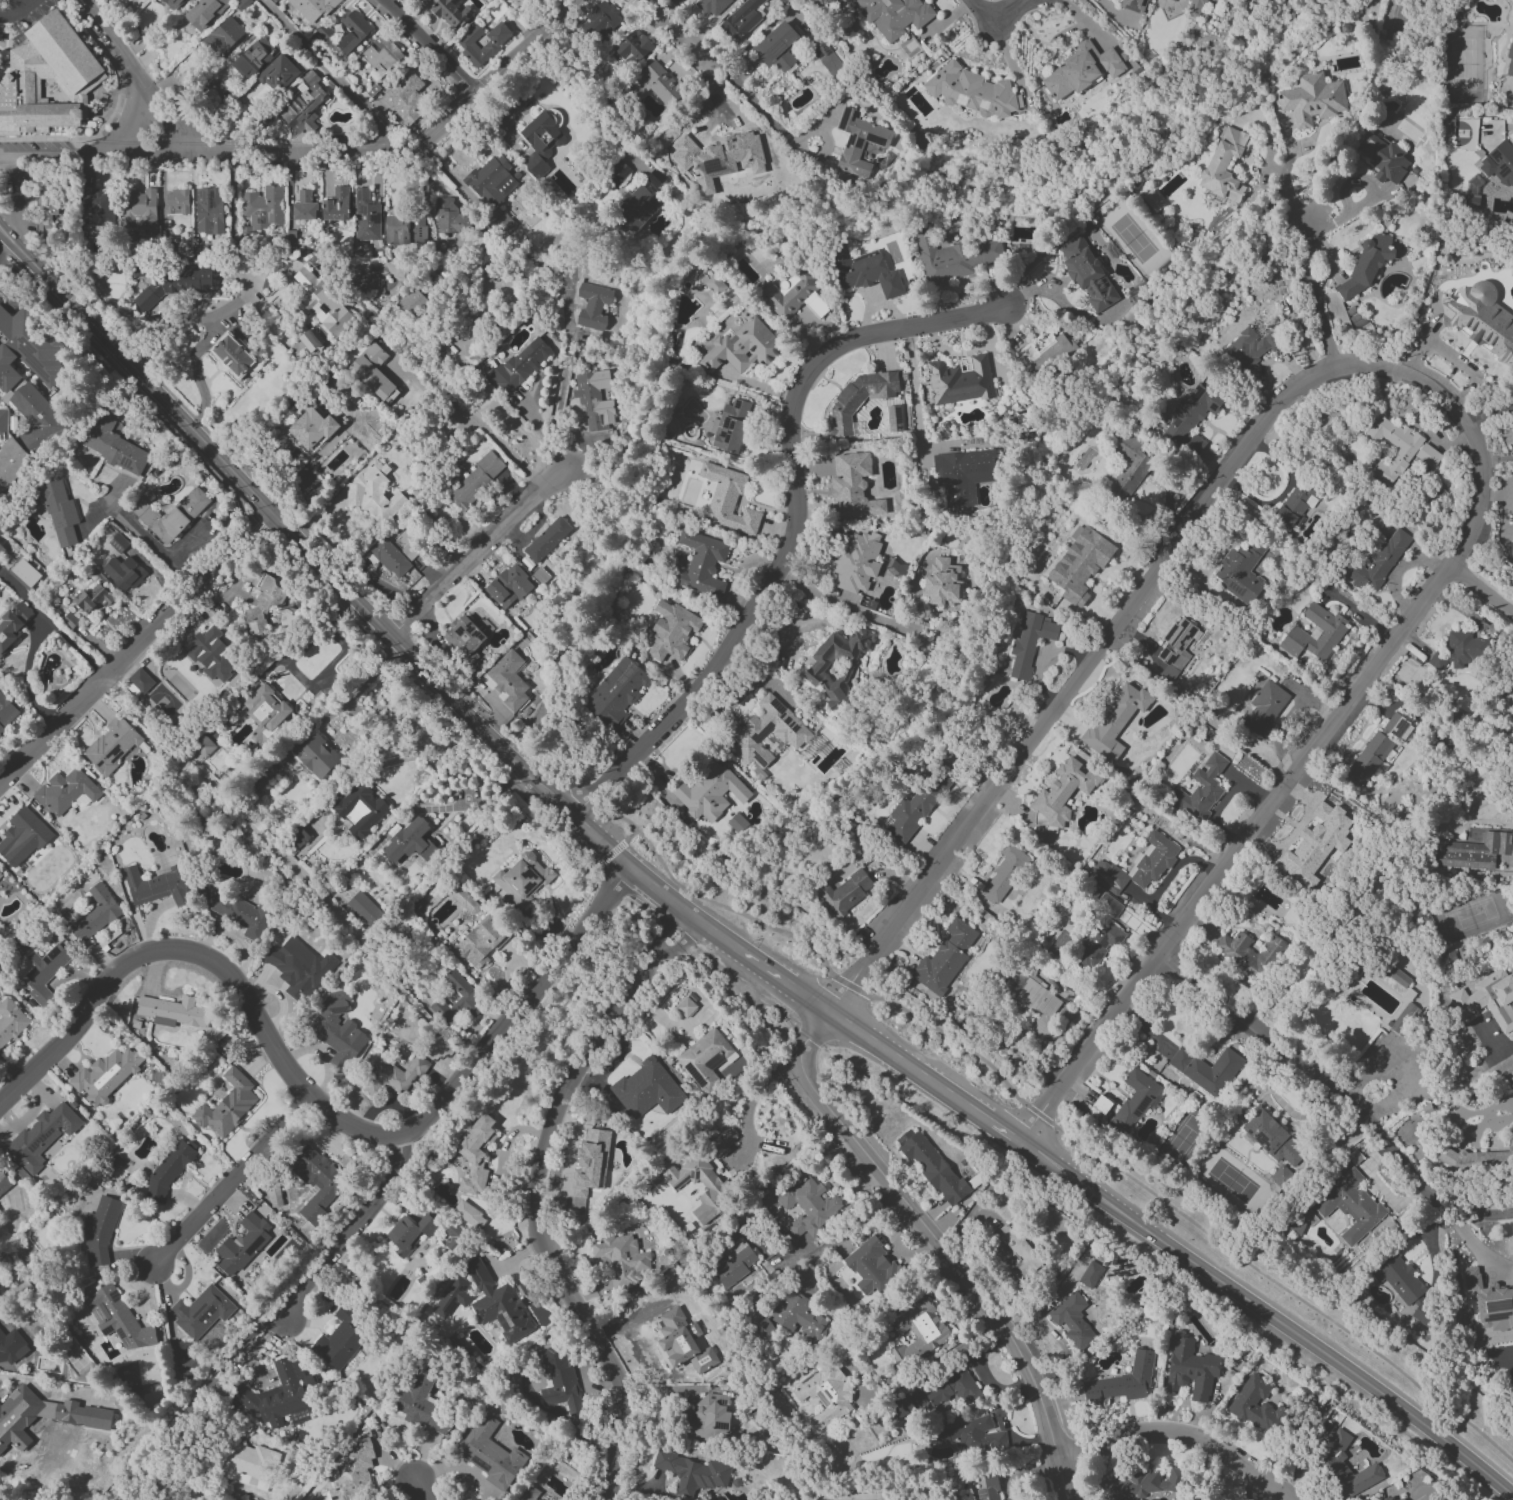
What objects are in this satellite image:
building: (173, 4)
building: (1134, 5)
building: (712, 6)
building: (1195, 6)
road: (16, 8)
building: (312, 8)
building: (205, 12)
building: (452, 13)
building: (894, 16)
building: (602, 20)
building: (741, 20)
road: (997, 22)
building: (353, 30)
road: (680, 32)
building: (224, 36)
building: (482, 43)
road: (115, 46)
road: (433, 46)
road: (526, 46)
building: (633, 46)
building: (777, 46)
building: (381, 54)
building: (253, 58)
building: (827, 58)
building: (1510, 60)
road: (328, 70)
building: (1082, 70)
building: (57, 72)
building: (277, 74)
building: (658, 85)
building: (970, 91)
building: (405, 97)
building: (1312, 99)
building: (305, 106)
road: (113, 110)
road: (763, 110)
road: (130, 122)
road: (176, 125)
road: (1132, 133)
building: (542, 139)
building: (860, 142)
road: (248, 154)
building: (1383, 158)
building: (1225, 164)
building: (1499, 164)
building: (618, 173)
building: (490, 182)
road: (1289, 200)
building: (1152, 201)
building: (176, 202)
building: (1471, 202)
building: (336, 205)
building: (304, 206)
building: (637, 206)
building: (97, 208)
building: (263, 209)
building: (140, 210)
building: (209, 211)
building: (45, 215)
building: (366, 216)
building: (451, 216)
building: (405, 229)
road: (5, 245)
building: (954, 258)
building: (1366, 265)
building: (1512, 270)
building: (1088, 271)
building: (864, 272)
building: (363, 282)
building: (175, 284)
building: (715, 284)
road: (1314, 294)
building: (795, 295)
building: (322, 303)
road: (242, 304)
building: (593, 306)
road: (193, 319)
building: (1481, 319)
building: (310, 340)
building: (741, 348)
building: (1250, 348)
building: (1044, 352)
building: (235, 358)
building: (521, 364)
building: (372, 371)
road: (564, 373)
building: (959, 381)
road: (912, 388)
building: (24, 395)
building: (859, 398)
building: (594, 399)
road: (1490, 414)
building: (1191, 418)
building: (731, 425)
road: (477, 426)
building: (312, 430)
building: (113, 445)
road: (208, 447)
building: (1399, 449)
building: (1130, 466)
building: (963, 475)
building: (475, 481)
building: (853, 487)
building: (374, 494)
building: (727, 500)
building: (1294, 507)
building: (58, 511)
building: (170, 514)
road: (793, 526)
building: (547, 539)
building: (1511, 549)
building: (2, 550)
road: (161, 551)
road: (477, 551)
building: (389, 558)
road: (295, 560)
building: (856, 562)
building: (1380, 562)
building: (702, 564)
building: (1081, 564)
building: (896, 568)
building: (1241, 572)
building: (123, 573)
building: (24, 574)
building: (942, 583)
building: (509, 587)
road: (1482, 591)
road: (188, 593)
building: (93, 599)
building: (266, 604)
road: (843, 605)
building: (69, 620)
building: (14, 624)
road: (34, 631)
building: (670, 631)
building: (1315, 633)
building: (464, 638)
building: (1176, 640)
building: (1029, 642)
building: (1460, 650)
building: (210, 654)
building: (836, 665)
road: (292, 671)
building: (141, 680)
building: (508, 680)
road: (1074, 680)
road: (361, 687)
building: (616, 692)
building: (1510, 703)
building: (264, 708)
building: (1264, 709)
building: (7, 713)
road: (481, 723)
building: (1115, 723)
building: (1398, 727)
road: (53, 729)
building: (768, 731)
road: (1327, 734)
building: (113, 744)
building: (316, 756)
building: (1368, 759)
building: (265, 777)
road: (210, 783)
building: (1201, 789)
building: (65, 791)
building: (710, 792)
building: (1062, 793)
road: (555, 801)
building: (916, 807)
building: (361, 809)
road: (631, 835)
building: (23, 837)
building: (411, 841)
building: (1477, 852)
road: (609, 853)
building: (1137, 865)
road: (630, 870)
building: (1003, 873)
building: (0, 874)
building: (522, 878)
building: (158, 886)
building: (845, 893)
building: (1108, 905)
road: (613, 906)
building: (364, 909)
building: (96, 914)
building: (241, 914)
road: (626, 915)
road: (650, 935)
building: (480, 943)
building: (1097, 943)
building: (1250, 954)
road: (205, 957)
building: (945, 958)
building: (1449, 958)
road: (760, 966)
building: (298, 968)
building: (42, 972)
building: (1396, 976)
building: (458, 999)
building: (1487, 1000)
building: (1033, 1002)
building: (685, 1007)
building: (173, 1011)
road: (518, 1011)
building: (1403, 1018)
building: (10, 1021)
building: (337, 1030)
road: (1490, 1042)
building: (704, 1057)
road: (899, 1061)
building: (1206, 1069)
road: (1306, 1072)
building: (105, 1075)
building: (392, 1076)
building: (646, 1089)
road: (755, 1098)
building: (1135, 1100)
building: (227, 1105)
road: (1049, 1121)
road: (996, 1127)
building: (41, 1137)
building: (1273, 1139)
building: (475, 1154)
building: (592, 1159)
building: (1479, 1160)
building: (931, 1165)
building: (169, 1170)
building: (704, 1176)
road: (1075, 1181)
road: (228, 1182)
building: (318, 1182)
building: (4, 1183)
road: (534, 1195)
building: (808, 1205)
building: (1350, 1206)
road: (1473, 1211)
building: (469, 1215)
building: (99, 1231)
road: (348, 1231)
building: (410, 1233)
road: (849, 1236)
road: (1460, 1240)
building: (242, 1244)
road: (934, 1246)
building: (617, 1258)
building: (734, 1263)
building: (871, 1267)
building: (1090, 1275)
building: (1405, 1288)
building: (453, 1297)
building: (1490, 1301)
building: (497, 1304)
building: (201, 1312)
building: (799, 1318)
building: (117, 1319)
building: (1072, 1320)
building: (764, 1330)
building: (919, 1332)
building: (339, 1340)
building: (683, 1342)
road: (1324, 1352)
building: (7, 1356)
building: (185, 1368)
building: (1191, 1369)
road: (982, 1374)
building: (558, 1378)
building: (1121, 1383)
building: (952, 1389)
building: (279, 1394)
building: (825, 1395)
building: (422, 1402)
building: (1257, 1406)
building: (81, 1414)
building: (709, 1418)
road: (1003, 1424)
road: (1179, 1436)
building: (970, 1439)
building: (490, 1453)
building: (1330, 1460)
building: (248, 1465)
building: (352, 1472)
building: (692, 1472)
road: (1022, 1473)
building: (1132, 1486)
building: (989, 1488)
building: (529, 1493)
road: (420, 1497)
building: (1388, 1498)
building: (1401, 1499)

